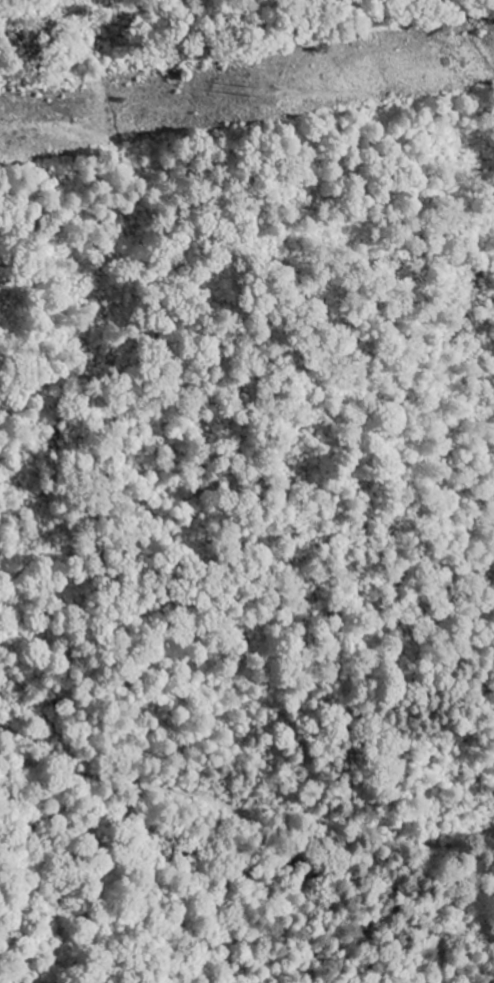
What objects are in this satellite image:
road: (244, 794)

